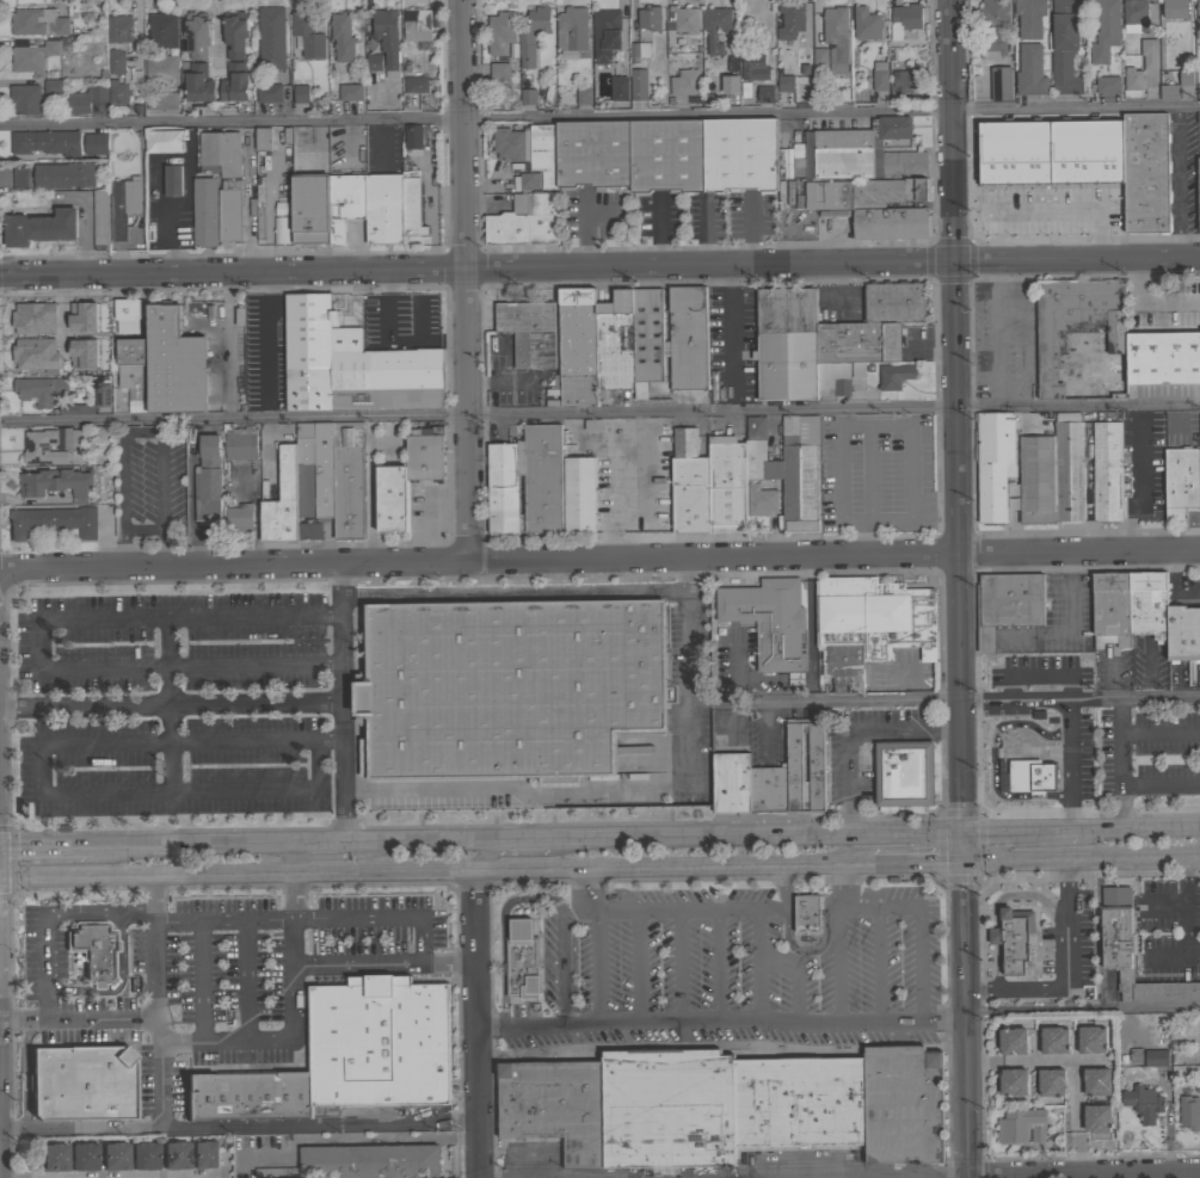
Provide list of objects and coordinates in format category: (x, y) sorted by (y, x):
building: (1175, 8)
building: (1198, 13)
building: (755, 14)
building: (993, 14)
building: (1132, 17)
building: (648, 18)
building: (1029, 18)
building: (682, 20)
building: (789, 20)
building: (903, 20)
building: (38, 21)
building: (866, 24)
building: (416, 26)
building: (119, 27)
building: (162, 30)
building: (715, 30)
building: (571, 31)
building: (1103, 31)
building: (500, 32)
building: (605, 33)
building: (196, 35)
building: (235, 35)
building: (306, 35)
building: (386, 35)
building: (533, 35)
building: (341, 37)
building: (270, 39)
building: (835, 39)
building: (992, 43)
building: (1064, 47)
building: (638, 53)
building: (1150, 54)
building: (32, 56)
building: (819, 57)
building: (116, 62)
building: (373, 63)
building: (753, 66)
building: (161, 68)
building: (499, 70)
building: (1030, 70)
building: (879, 75)
building: (1184, 78)
building: (1132, 79)
building: (905, 80)
building: (684, 82)
building: (199, 84)
building: (234, 84)
building: (730, 84)
building: (784, 84)
building: (1001, 84)
building: (1106, 84)
building: (638, 85)
building: (53, 86)
building: (414, 86)
building: (620, 88)
building: (1168, 91)
building: (269, 92)
building: (350, 92)
building: (118, 93)
building: (301, 93)
building: (765, 94)
building: (528, 95)
building: (581, 97)
building: (25, 98)
building: (85, 99)
building: (162, 100)
road: (599, 118)
road: (953, 130)
building: (413, 136)
building: (299, 137)
building: (263, 138)
building: (47, 142)
building: (96, 143)
building: (159, 143)
building: (859, 153)
building: (529, 155)
building: (591, 155)
building: (665, 156)
building: (739, 156)
building: (794, 162)
road: (156, 164)
building: (779, 167)
building: (1070, 168)
building: (1146, 172)
building: (63, 174)
building: (224, 178)
building: (20, 179)
building: (172, 180)
road: (1181, 183)
building: (862, 195)
building: (1199, 195)
road: (250, 204)
building: (344, 204)
building: (411, 204)
building: (123, 205)
building: (309, 210)
building: (382, 210)
building: (204, 211)
building: (278, 211)
road: (1048, 216)
building: (100, 217)
building: (524, 222)
building: (890, 224)
building: (41, 227)
building: (278, 232)
road: (1077, 259)
road: (476, 267)
road: (466, 282)
building: (893, 303)
road: (1145, 303)
building: (124, 316)
building: (85, 317)
building: (30, 320)
road: (731, 327)
building: (529, 332)
road: (997, 333)
building: (1079, 338)
building: (685, 339)
building: (645, 340)
building: (613, 343)
building: (787, 344)
building: (859, 344)
building: (574, 349)
building: (31, 356)
building: (75, 356)
building: (1163, 357)
building: (351, 363)
building: (172, 364)
building: (856, 370)
building: (131, 372)
building: (894, 376)
building: (832, 380)
building: (39, 390)
building: (103, 391)
building: (82, 409)
road: (599, 413)
building: (1188, 424)
road: (139, 432)
building: (78, 437)
building: (240, 443)
building: (42, 448)
building: (425, 454)
building: (757, 454)
building: (993, 463)
building: (1069, 468)
building: (1107, 468)
building: (315, 469)
building: (799, 475)
building: (541, 479)
building: (347, 480)
building: (1036, 480)
building: (208, 481)
building: (1180, 481)
building: (56, 483)
building: (688, 486)
building: (725, 486)
building: (504, 487)
building: (578, 494)
road: (1131, 495)
building: (392, 498)
building: (282, 500)
building: (759, 502)
building: (239, 518)
building: (53, 520)
building: (309, 531)
road: (599, 562)
road: (960, 562)
road: (682, 576)
road: (1171, 586)
road: (512, 596)
building: (1007, 604)
building: (1146, 606)
building: (1109, 611)
road: (98, 617)
road: (808, 618)
building: (769, 621)
building: (869, 625)
road: (1070, 633)
road: (984, 635)
building: (1182, 635)
road: (968, 636)
road: (165, 661)
road: (253, 670)
road: (1033, 678)
building: (509, 687)
road: (958, 699)
road: (341, 703)
road: (171, 705)
road: (854, 729)
road: (1159, 730)
road: (103, 745)
road: (167, 750)
road: (990, 761)
road: (1120, 763)
road: (1065, 765)
building: (814, 771)
building: (904, 773)
building: (1027, 777)
building: (732, 783)
road: (1161, 784)
building: (769, 790)
road: (611, 791)
road: (254, 795)
road: (1138, 829)
road: (1019, 832)
traffic signals: (964, 834)
road: (753, 837)
road: (511, 839)
road: (410, 840)
road: (320, 841)
road: (196, 843)
road: (45, 844)
road: (522, 851)
road: (337, 856)
road: (1082, 861)
road: (12, 862)
road: (913, 864)
traffic signals: (965, 864)
road: (574, 868)
road: (143, 874)
building: (891, 881)
road: (376, 884)
road: (783, 887)
road: (835, 887)
road: (585, 889)
road: (287, 895)
building: (609, 900)
road: (684, 909)
road: (45, 914)
building: (807, 914)
road: (377, 917)
road: (220, 920)
road: (918, 925)
building: (1013, 938)
road: (154, 946)
building: (93, 949)
building: (1132, 951)
road: (561, 960)
building: (521, 961)
road: (383, 964)
road: (756, 967)
road: (835, 967)
road: (876, 967)
road: (596, 968)
road: (634, 968)
road: (678, 968)
road: (714, 968)
road: (795, 975)
road: (1065, 975)
road: (199, 983)
road: (242, 983)
road: (1083, 1006)
road: (87, 1019)
road: (10, 1020)
road: (967, 1020)
road: (478, 1023)
road: (722, 1025)
road: (11, 1036)
building: (1053, 1040)
building: (1090, 1040)
building: (1013, 1041)
road: (283, 1043)
building: (345, 1054)
building: (1156, 1057)
road: (985, 1061)
road: (1070, 1061)
road: (158, 1072)
building: (1013, 1081)
building: (1096, 1081)
building: (81, 1083)
building: (1051, 1083)
building: (1143, 1103)
building: (725, 1105)
building: (1189, 1111)
building: (1096, 1118)
road: (246, 1125)
building: (1020, 1125)
road: (6, 1129)
road: (1077, 1152)
building: (144, 1154)
building: (177, 1154)
building: (205, 1154)
building: (115, 1155)
building: (53, 1157)
building: (82, 1157)
building: (361, 1162)
road: (1112, 1176)
road: (1102, 1177)

